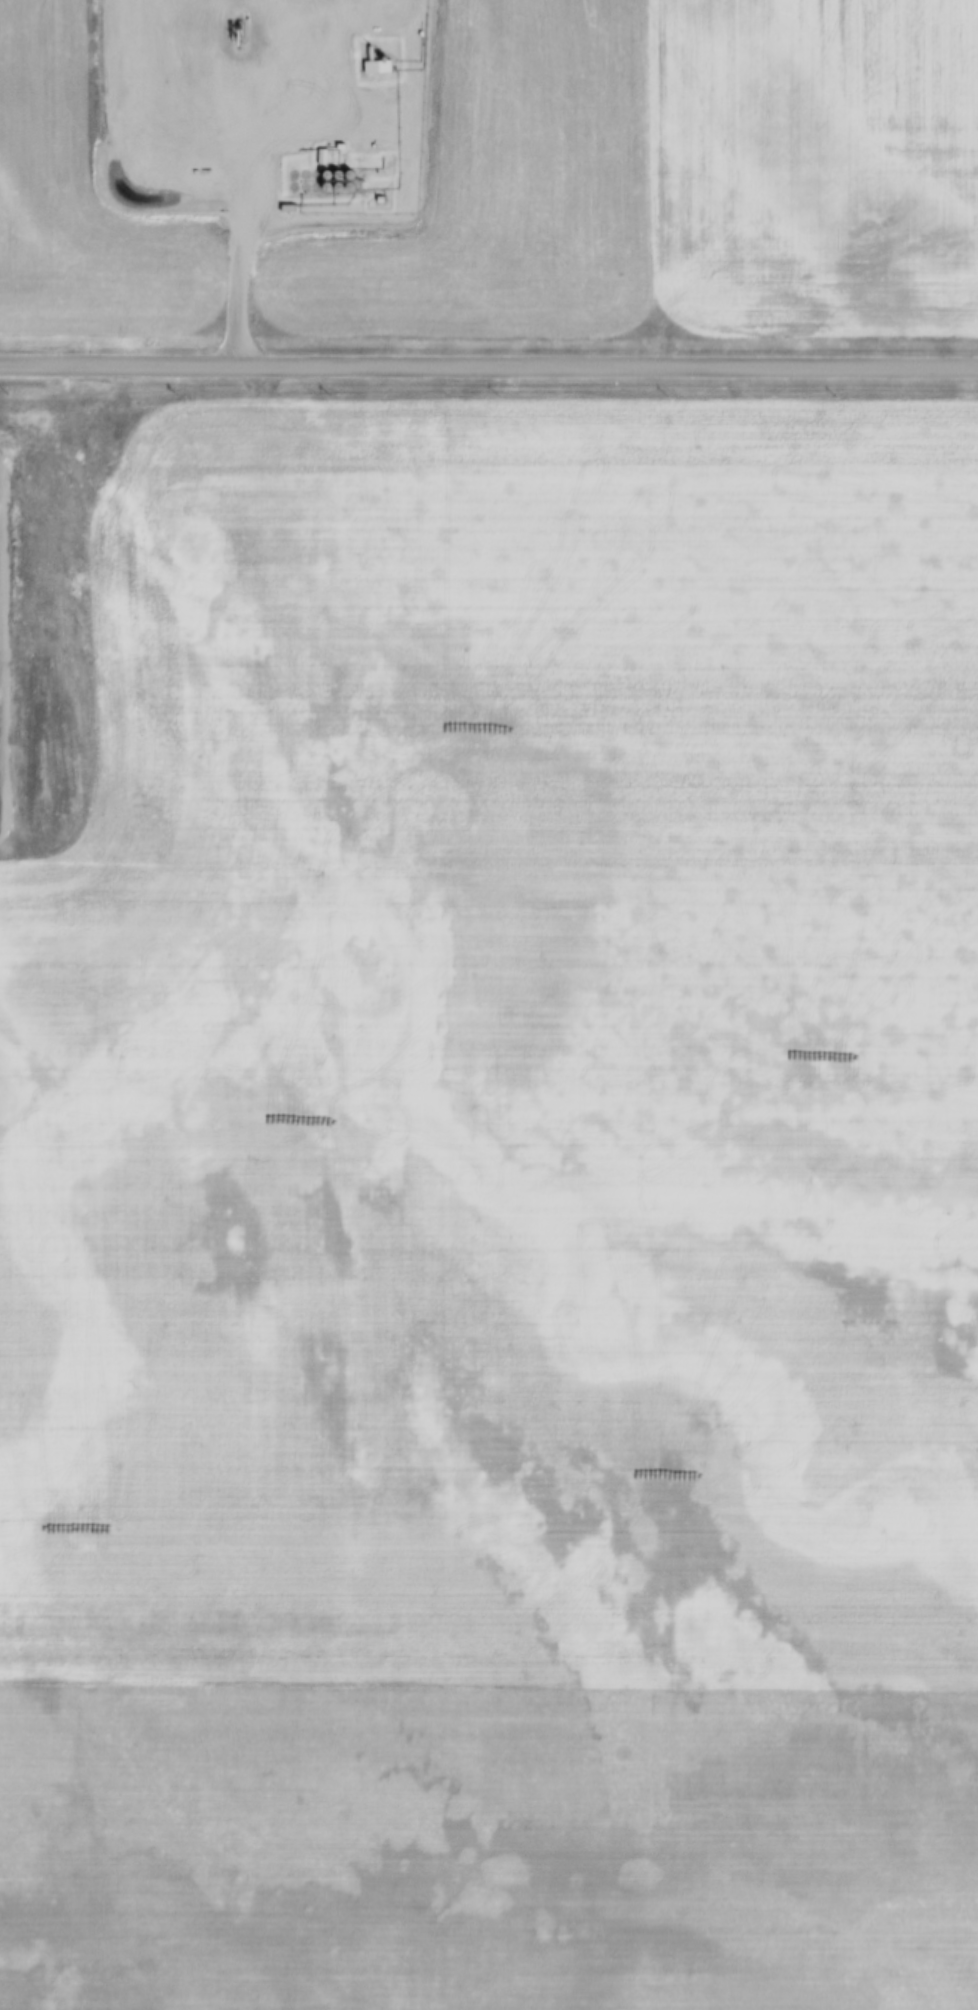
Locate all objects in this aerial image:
building: (291, 28)
building: (370, 118)
building: (283, 179)
road: (488, 368)

